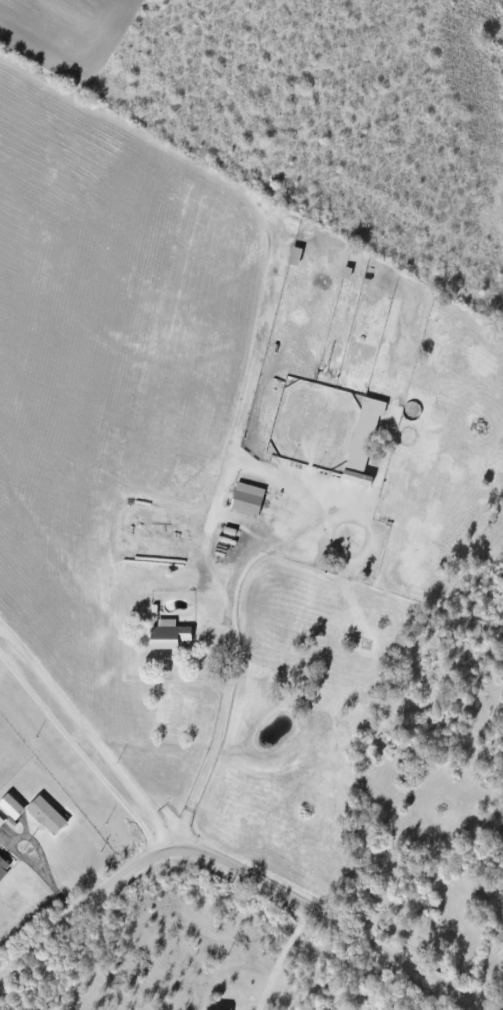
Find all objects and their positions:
building: (363, 439)
building: (247, 497)
building: (168, 633)
road: (234, 663)
road: (80, 751)
building: (11, 805)
building: (45, 814)
building: (1, 821)
road: (34, 849)
building: (3, 866)
road: (239, 869)
road: (280, 957)
building: (216, 1008)

